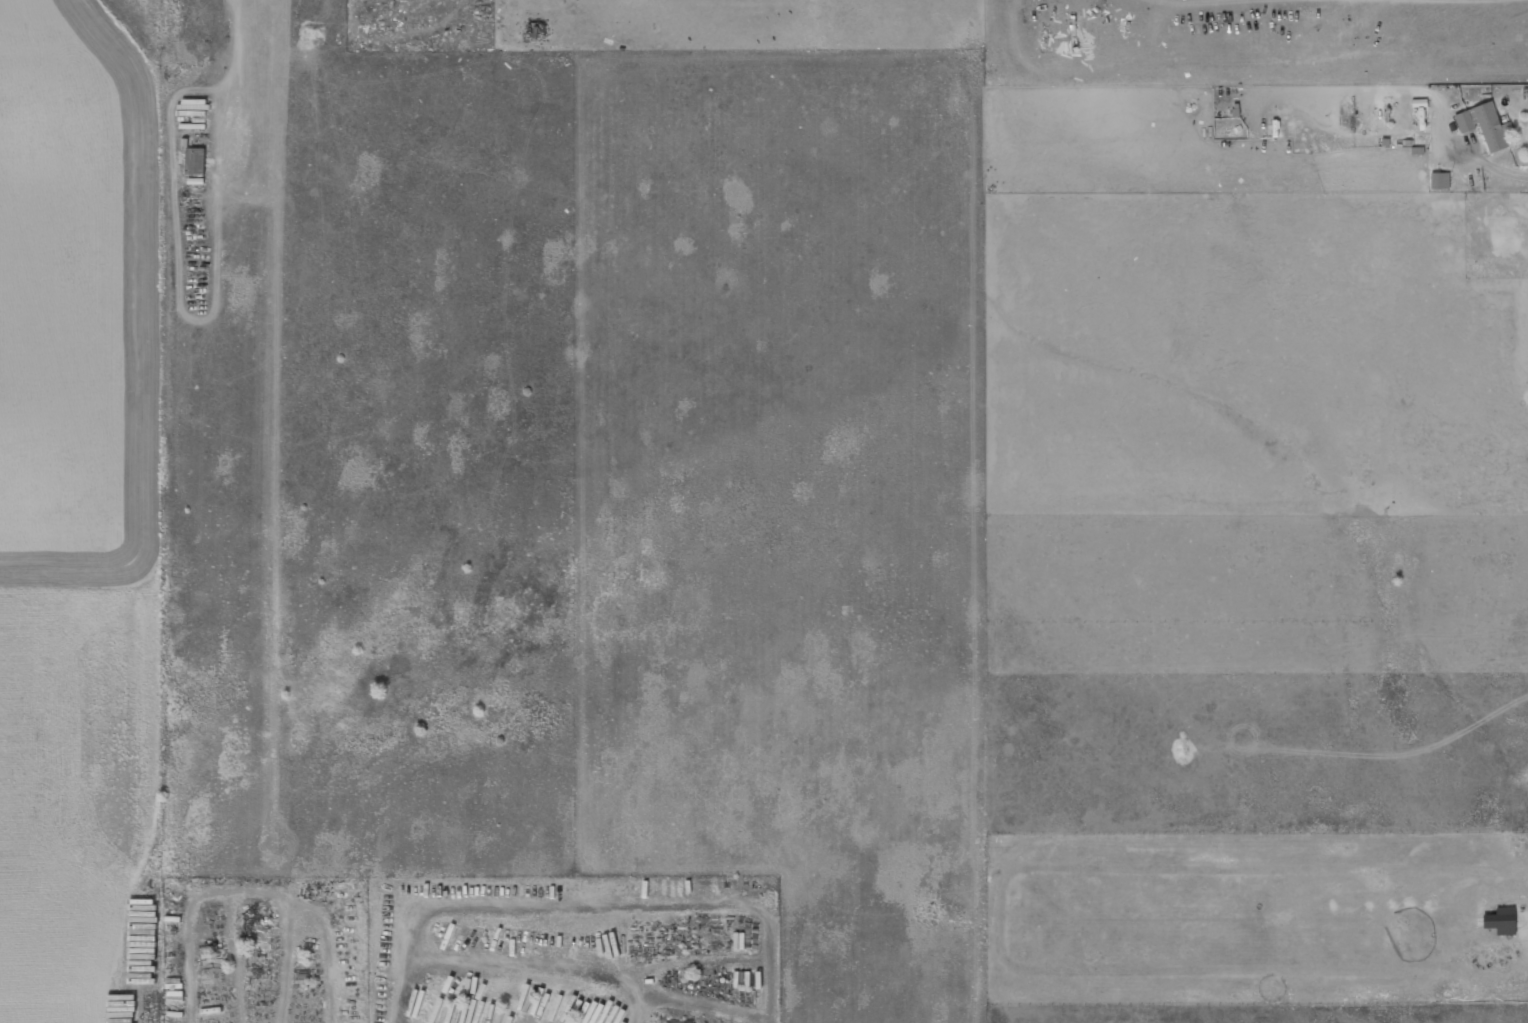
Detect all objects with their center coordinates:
building: (195, 161)
building: (1440, 180)
building: (1501, 921)

